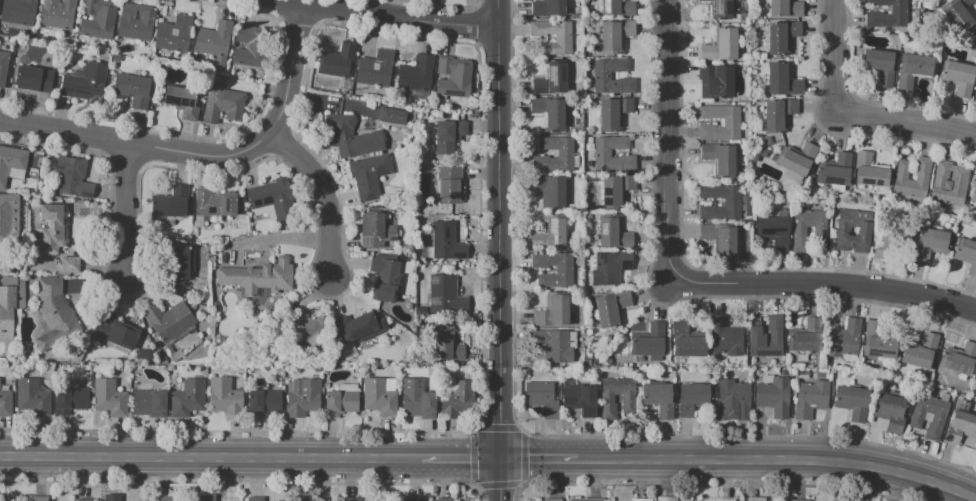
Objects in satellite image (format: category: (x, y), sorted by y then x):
building: (0, 0)
building: (724, 7)
building: (550, 9)
building: (619, 9)
building: (785, 9)
building: (20, 12)
building: (59, 14)
building: (875, 14)
building: (961, 14)
road: (392, 15)
building: (99, 20)
building: (137, 23)
building: (176, 35)
building: (781, 36)
building: (617, 37)
building: (564, 41)
building: (215, 43)
building: (723, 48)
building: (254, 49)
road: (832, 55)
building: (339, 61)
building: (3, 67)
building: (883, 67)
road: (292, 69)
building: (378, 69)
building: (915, 71)
building: (418, 75)
building: (603, 76)
building: (782, 78)
building: (36, 79)
building: (455, 79)
building: (961, 79)
building: (720, 80)
building: (554, 82)
building: (87, 84)
building: (134, 90)
building: (974, 95)
building: (184, 102)
building: (224, 105)
building: (551, 113)
building: (616, 113)
building: (778, 113)
building: (390, 115)
road: (904, 122)
building: (733, 123)
building: (451, 136)
building: (354, 138)
building: (768, 140)
road: (665, 143)
road: (139, 147)
building: (763, 152)
building: (603, 153)
building: (567, 154)
building: (798, 158)
building: (723, 160)
building: (11, 163)
building: (836, 171)
building: (869, 171)
building: (922, 176)
building: (371, 177)
building: (73, 178)
building: (452, 184)
building: (948, 184)
building: (552, 192)
building: (617, 192)
building: (973, 194)
road: (320, 196)
building: (274, 198)
building: (8, 203)
building: (174, 203)
building: (733, 203)
building: (217, 204)
road: (129, 210)
building: (52, 229)
road: (499, 229)
building: (798, 231)
building: (377, 232)
building: (773, 232)
building: (850, 233)
building: (615, 234)
building: (553, 235)
building: (719, 239)
building: (888, 239)
building: (449, 243)
building: (930, 243)
building: (966, 255)
building: (180, 262)
building: (70, 264)
building: (613, 267)
building: (566, 271)
building: (260, 277)
building: (386, 279)
road: (822, 289)
building: (447, 296)
building: (214, 304)
building: (267, 310)
building: (608, 310)
building: (7, 312)
building: (556, 312)
building: (56, 315)
building: (171, 321)
building: (357, 328)
building: (313, 329)
building: (117, 332)
building: (755, 334)
building: (804, 338)
building: (723, 339)
building: (844, 339)
building: (684, 341)
building: (647, 342)
building: (876, 342)
building: (448, 345)
building: (552, 345)
building: (919, 352)
building: (176, 354)
building: (145, 355)
building: (959, 359)
building: (316, 370)
building: (801, 373)
building: (412, 378)
building: (975, 381)
building: (34, 397)
building: (226, 397)
building: (773, 397)
building: (110, 398)
building: (380, 398)
building: (540, 398)
building: (627, 398)
building: (734, 398)
building: (189, 399)
building: (304, 399)
building: (657, 399)
building: (689, 399)
building: (810, 399)
building: (455, 400)
building: (577, 400)
building: (73, 401)
building: (5, 403)
building: (342, 403)
building: (851, 403)
building: (151, 404)
building: (265, 404)
building: (419, 405)
building: (888, 412)
building: (916, 419)
building: (960, 428)
road: (210, 458)
road: (460, 460)
traffic signals: (501, 460)
road: (539, 460)
road: (778, 464)
road: (501, 480)
building: (113, 498)
building: (208, 498)
building: (40, 499)
building: (166, 499)
building: (256, 499)
building: (302, 499)
building: (347, 499)
building: (442, 499)
building: (550, 499)
building: (665, 499)
building: (716, 499)
building: (753, 499)
building: (82, 500)
building: (277, 500)
building: (410, 500)
building: (584, 500)
building: (641, 500)
building: (805, 500)

